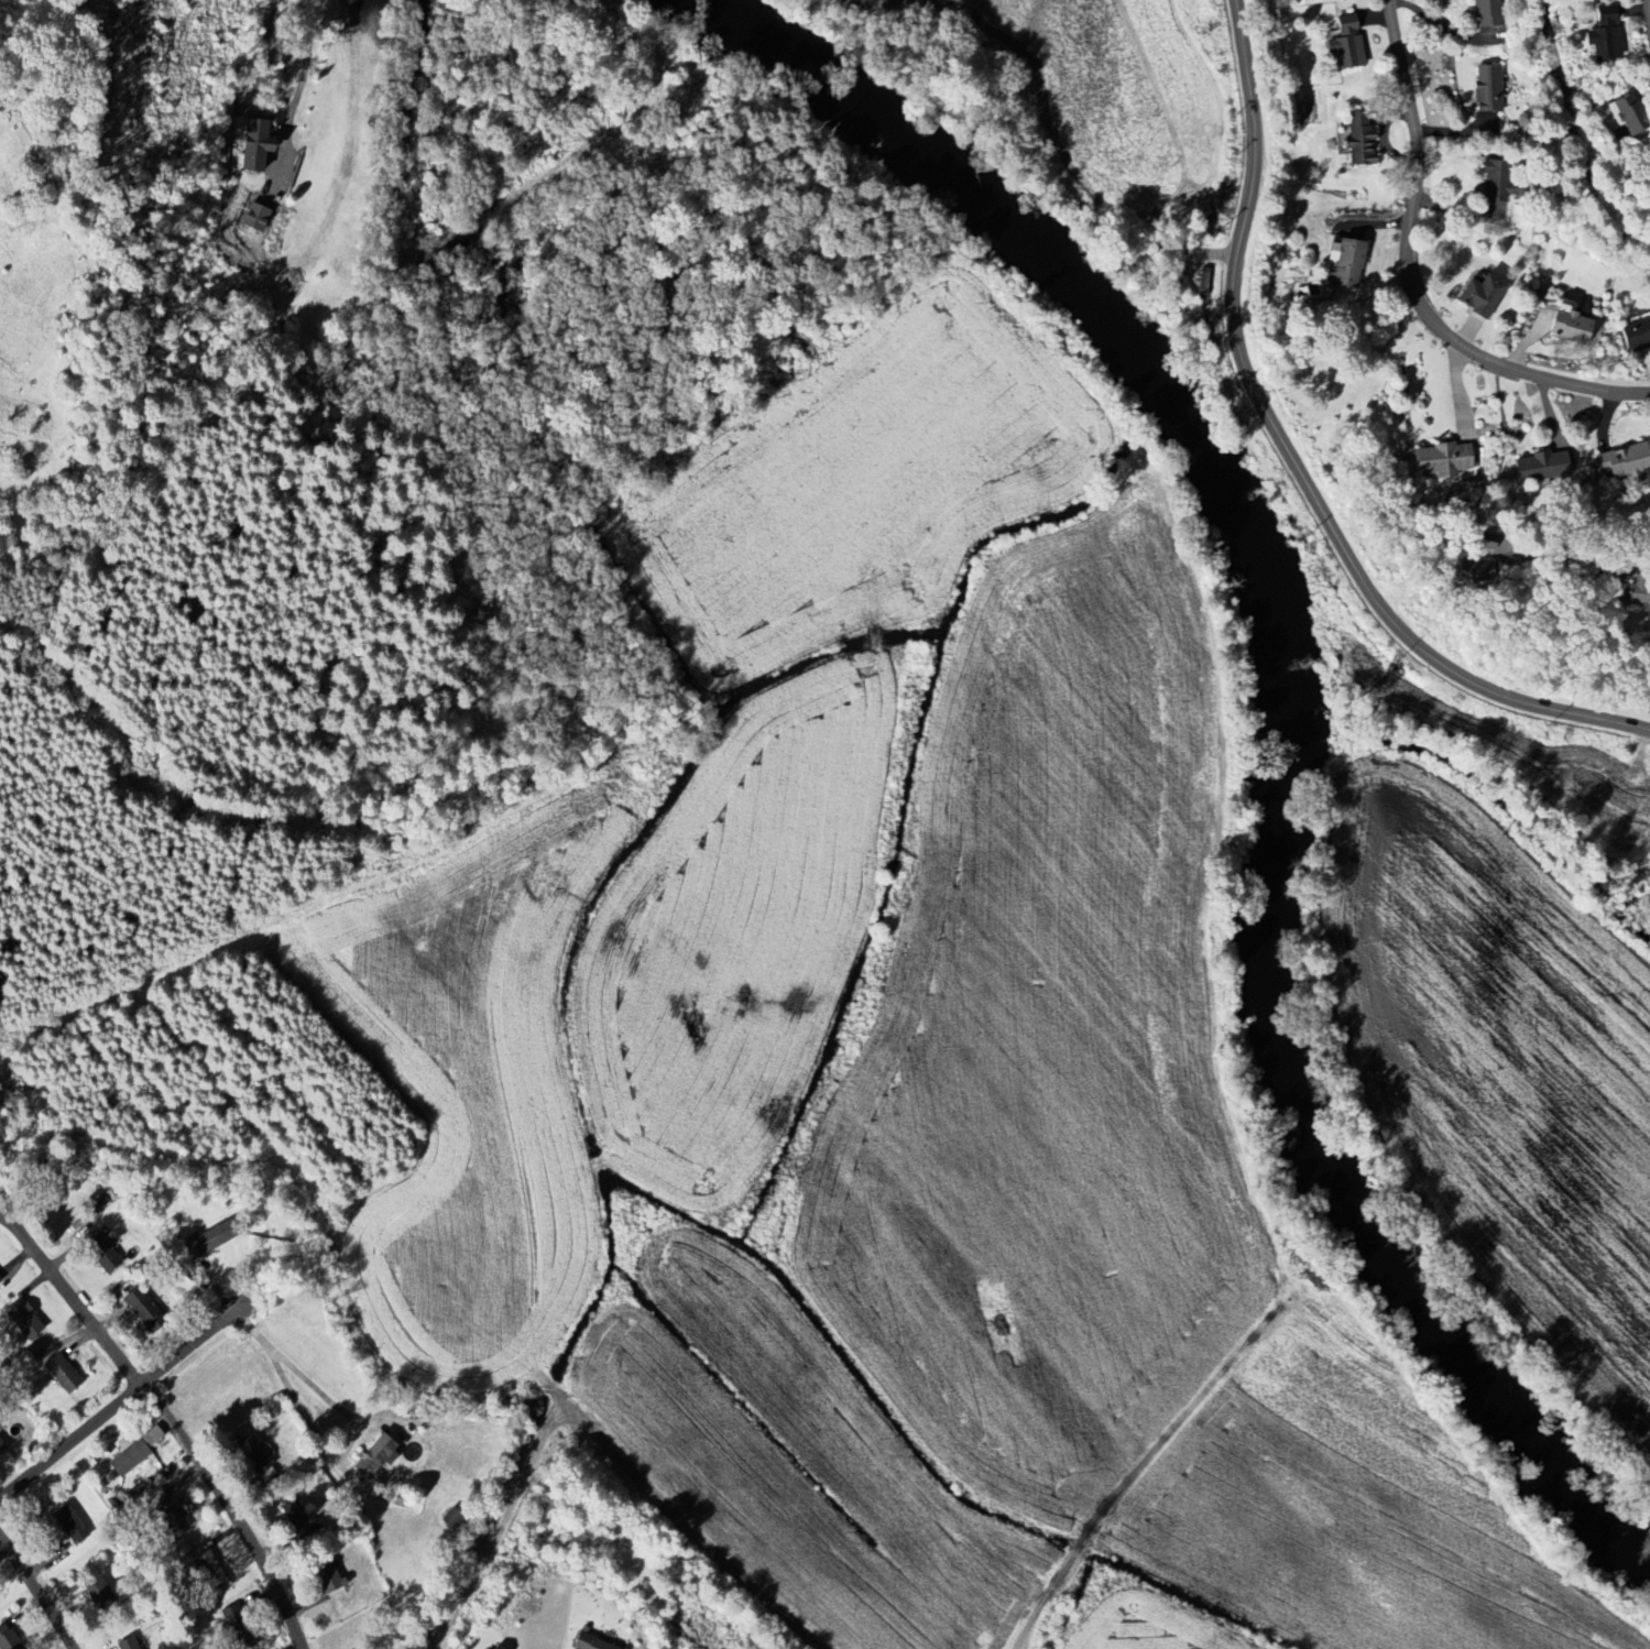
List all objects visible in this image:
building: (1486, 13)
building: (1603, 35)
road: (267, 42)
building: (1344, 44)
road: (307, 61)
building: (1486, 89)
building: (1519, 102)
building: (1627, 114)
road: (1578, 135)
building: (1357, 143)
building: (254, 145)
building: (1500, 183)
river: (980, 197)
building: (260, 216)
building: (1345, 262)
road: (1408, 279)
building: (1199, 281)
building: (1480, 296)
building: (1570, 327)
building: (1636, 337)
road: (1292, 459)
building: (1441, 460)
building: (1621, 463)
building: (1537, 467)
building: (1489, 546)
road: (1632, 561)
building: (1467, 575)
river: (1268, 1067)
building: (217, 1237)
building: (108, 1255)
road: (70, 1296)
building: (147, 1311)
building: (28, 1320)
building: (67, 1376)
road: (119, 1402)
road: (335, 1427)
building: (2, 1448)
building: (251, 1454)
building: (128, 1455)
building: (371, 1456)
road: (232, 1510)
building: (167, 1517)
building: (297, 1519)
building: (67, 1521)
building: (208, 1570)
building: (325, 1579)
road: (37, 1592)
building: (95, 1592)
building: (240, 1639)
building: (6, 1640)
building: (587, 1642)
building: (124, 1643)
building: (494, 1647)

